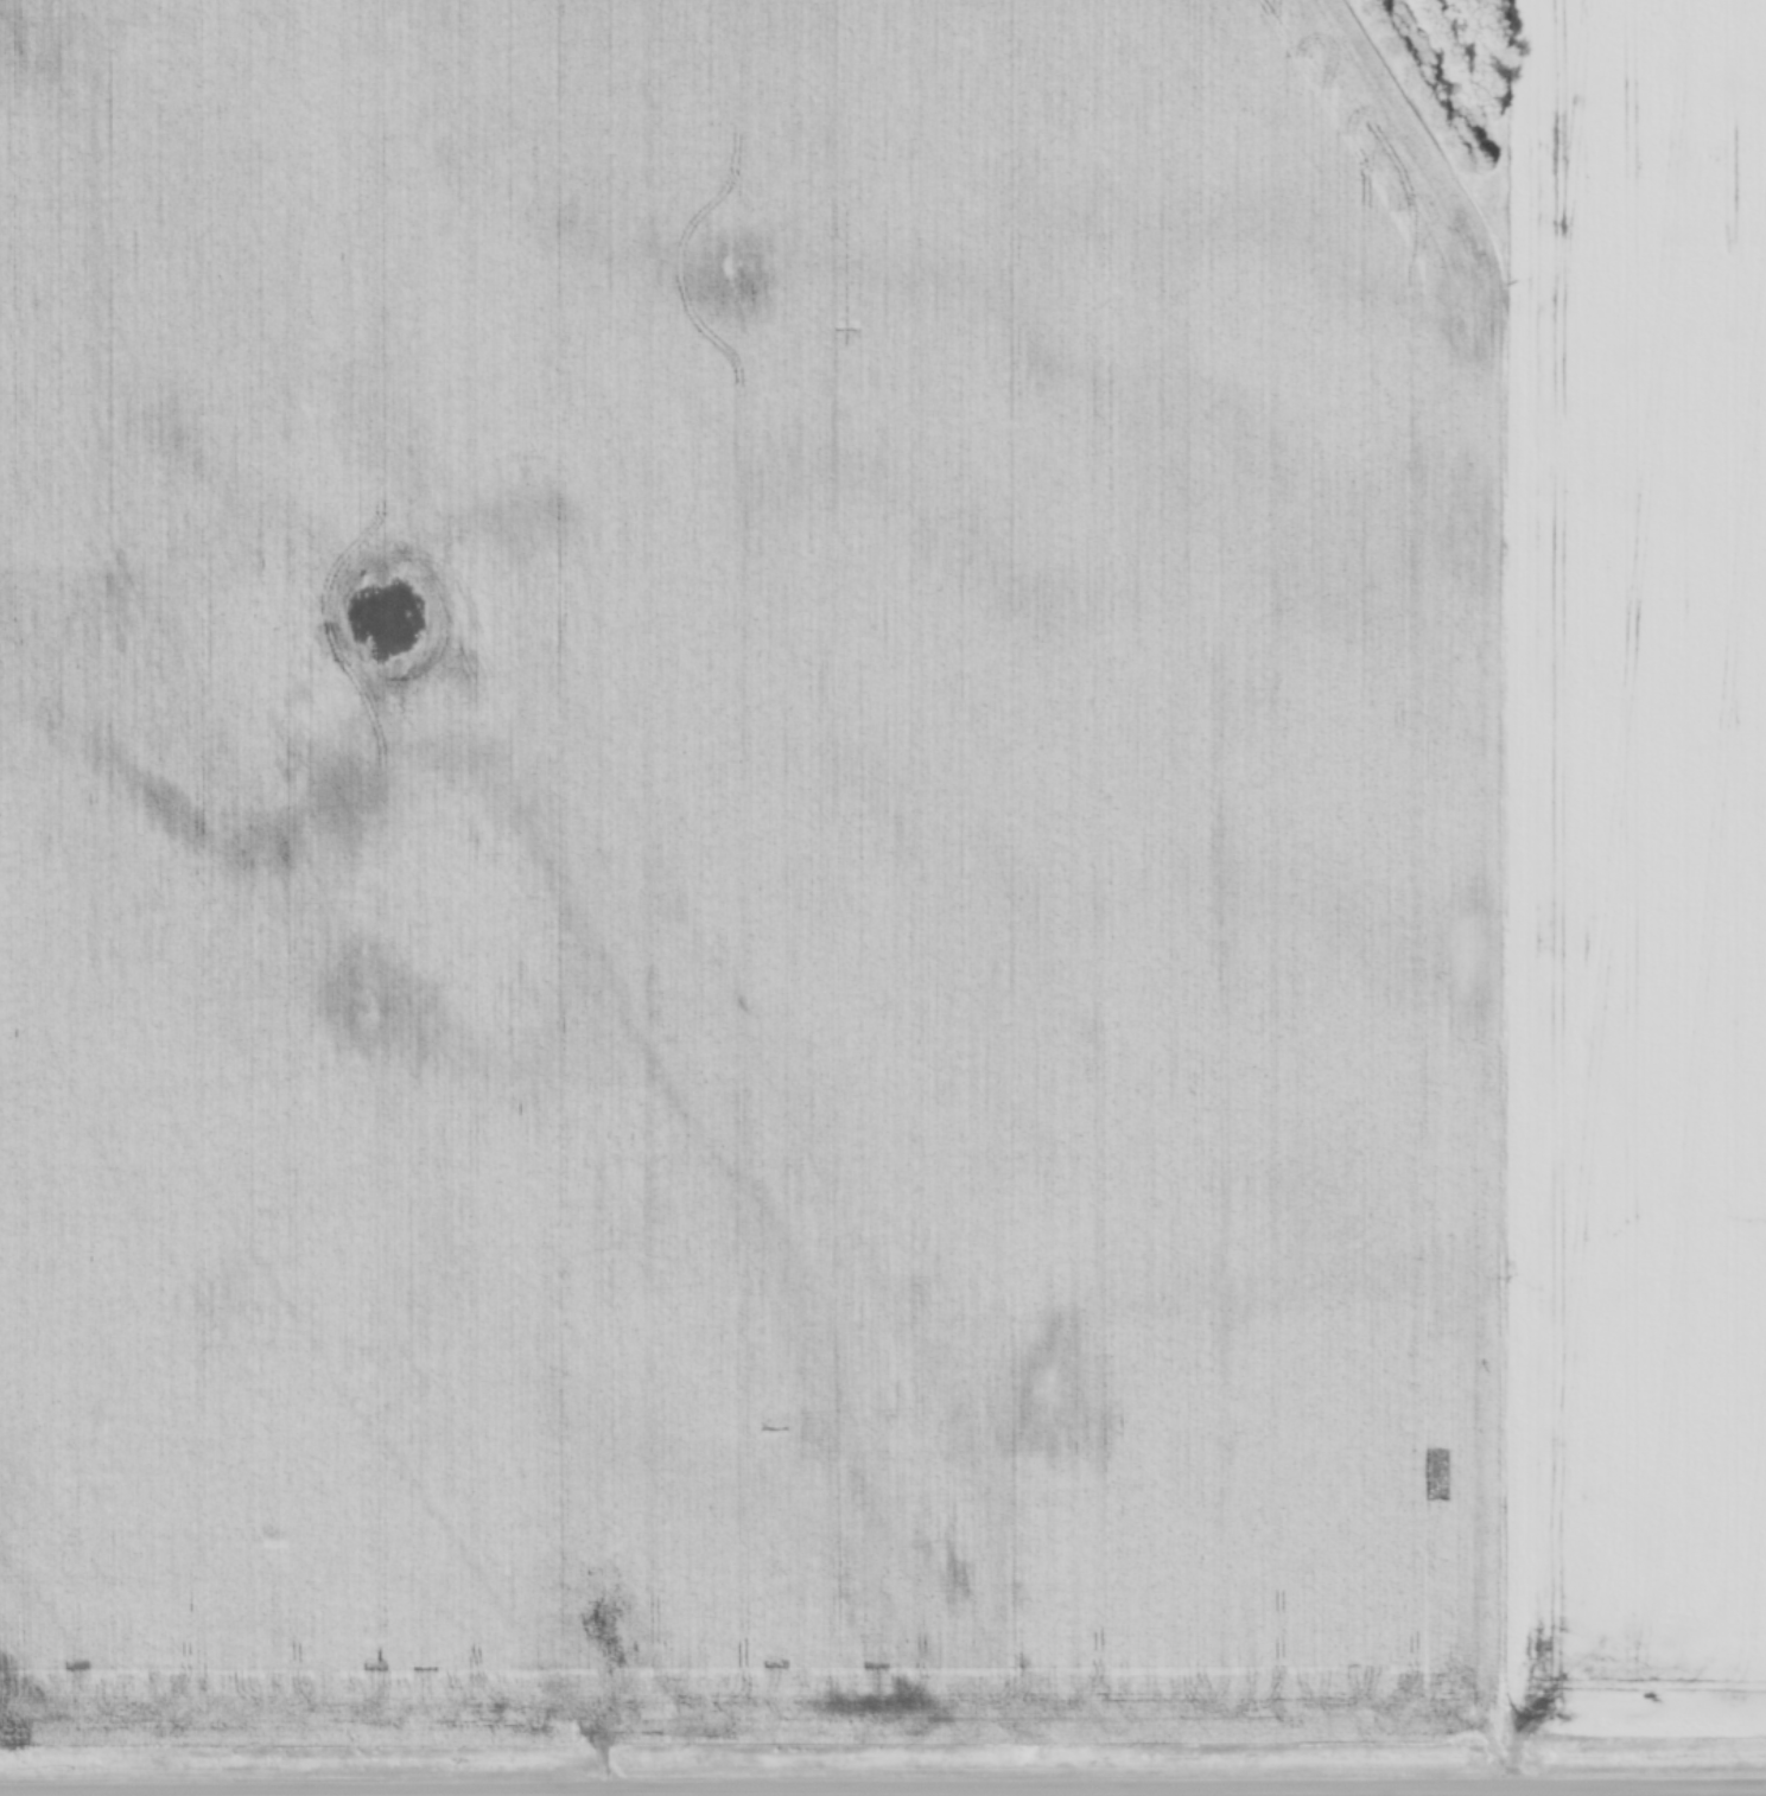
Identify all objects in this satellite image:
road: (1588, 1795)

